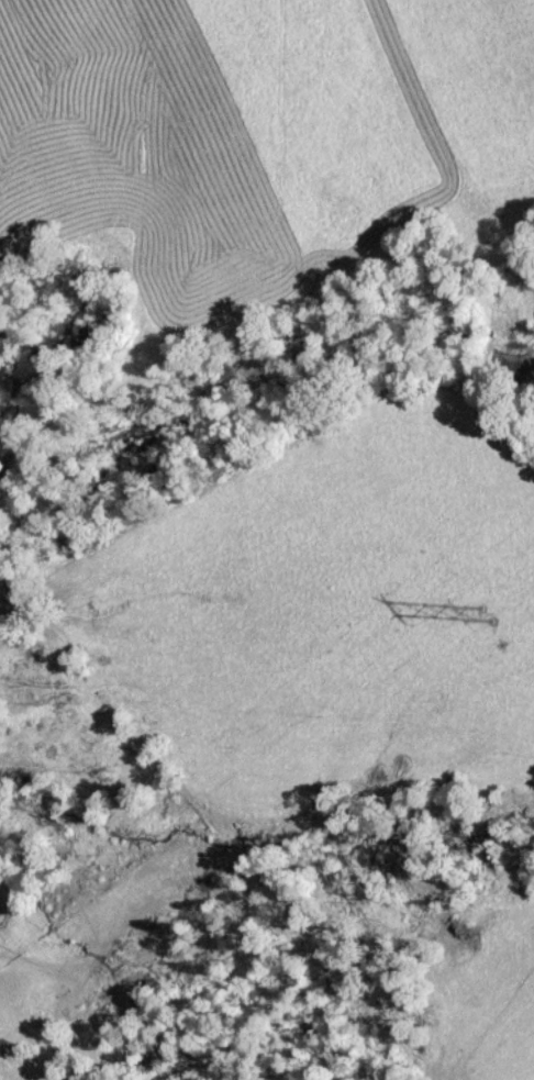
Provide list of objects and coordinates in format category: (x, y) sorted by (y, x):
power tower: (488, 623)

